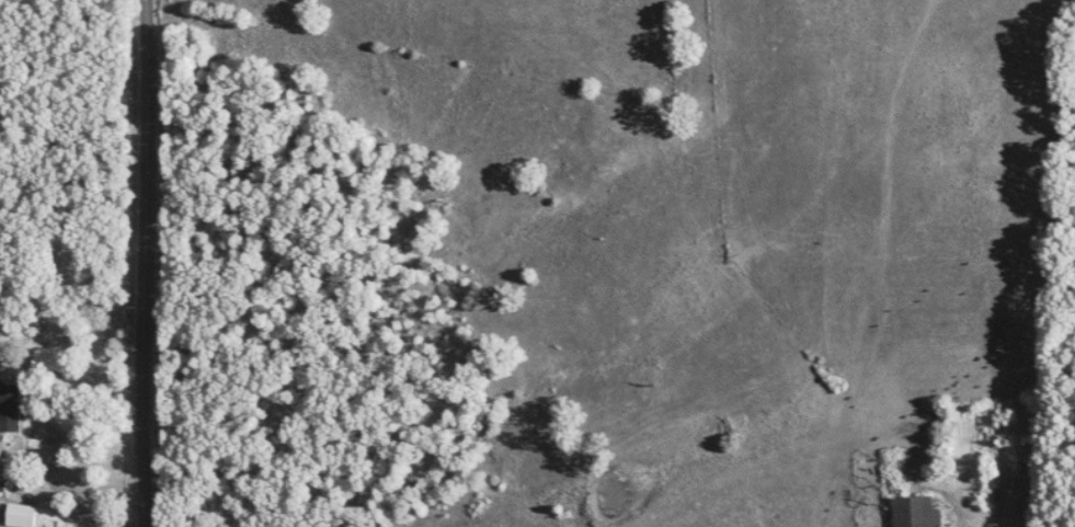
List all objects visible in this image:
road: (142, 263)
building: (9, 405)
road: (960, 501)
road: (84, 511)
building: (916, 511)
building: (20, 514)

